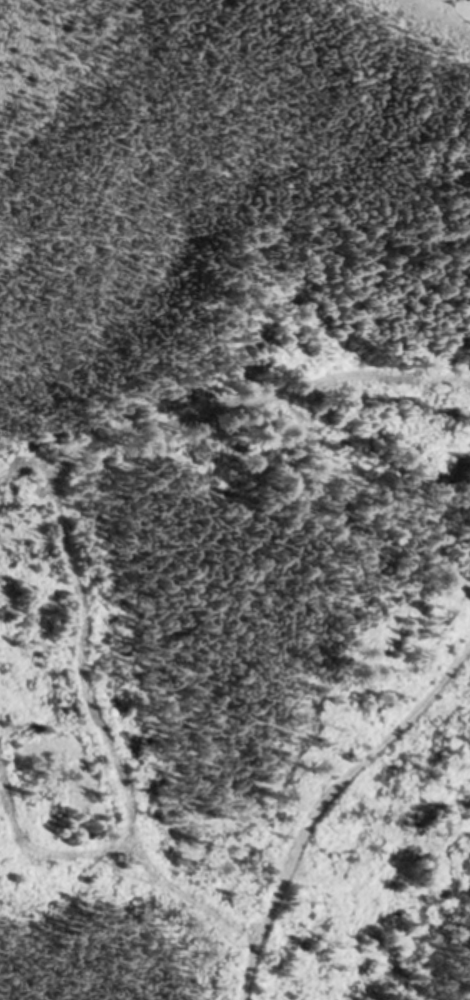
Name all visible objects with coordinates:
road: (286, 776)

